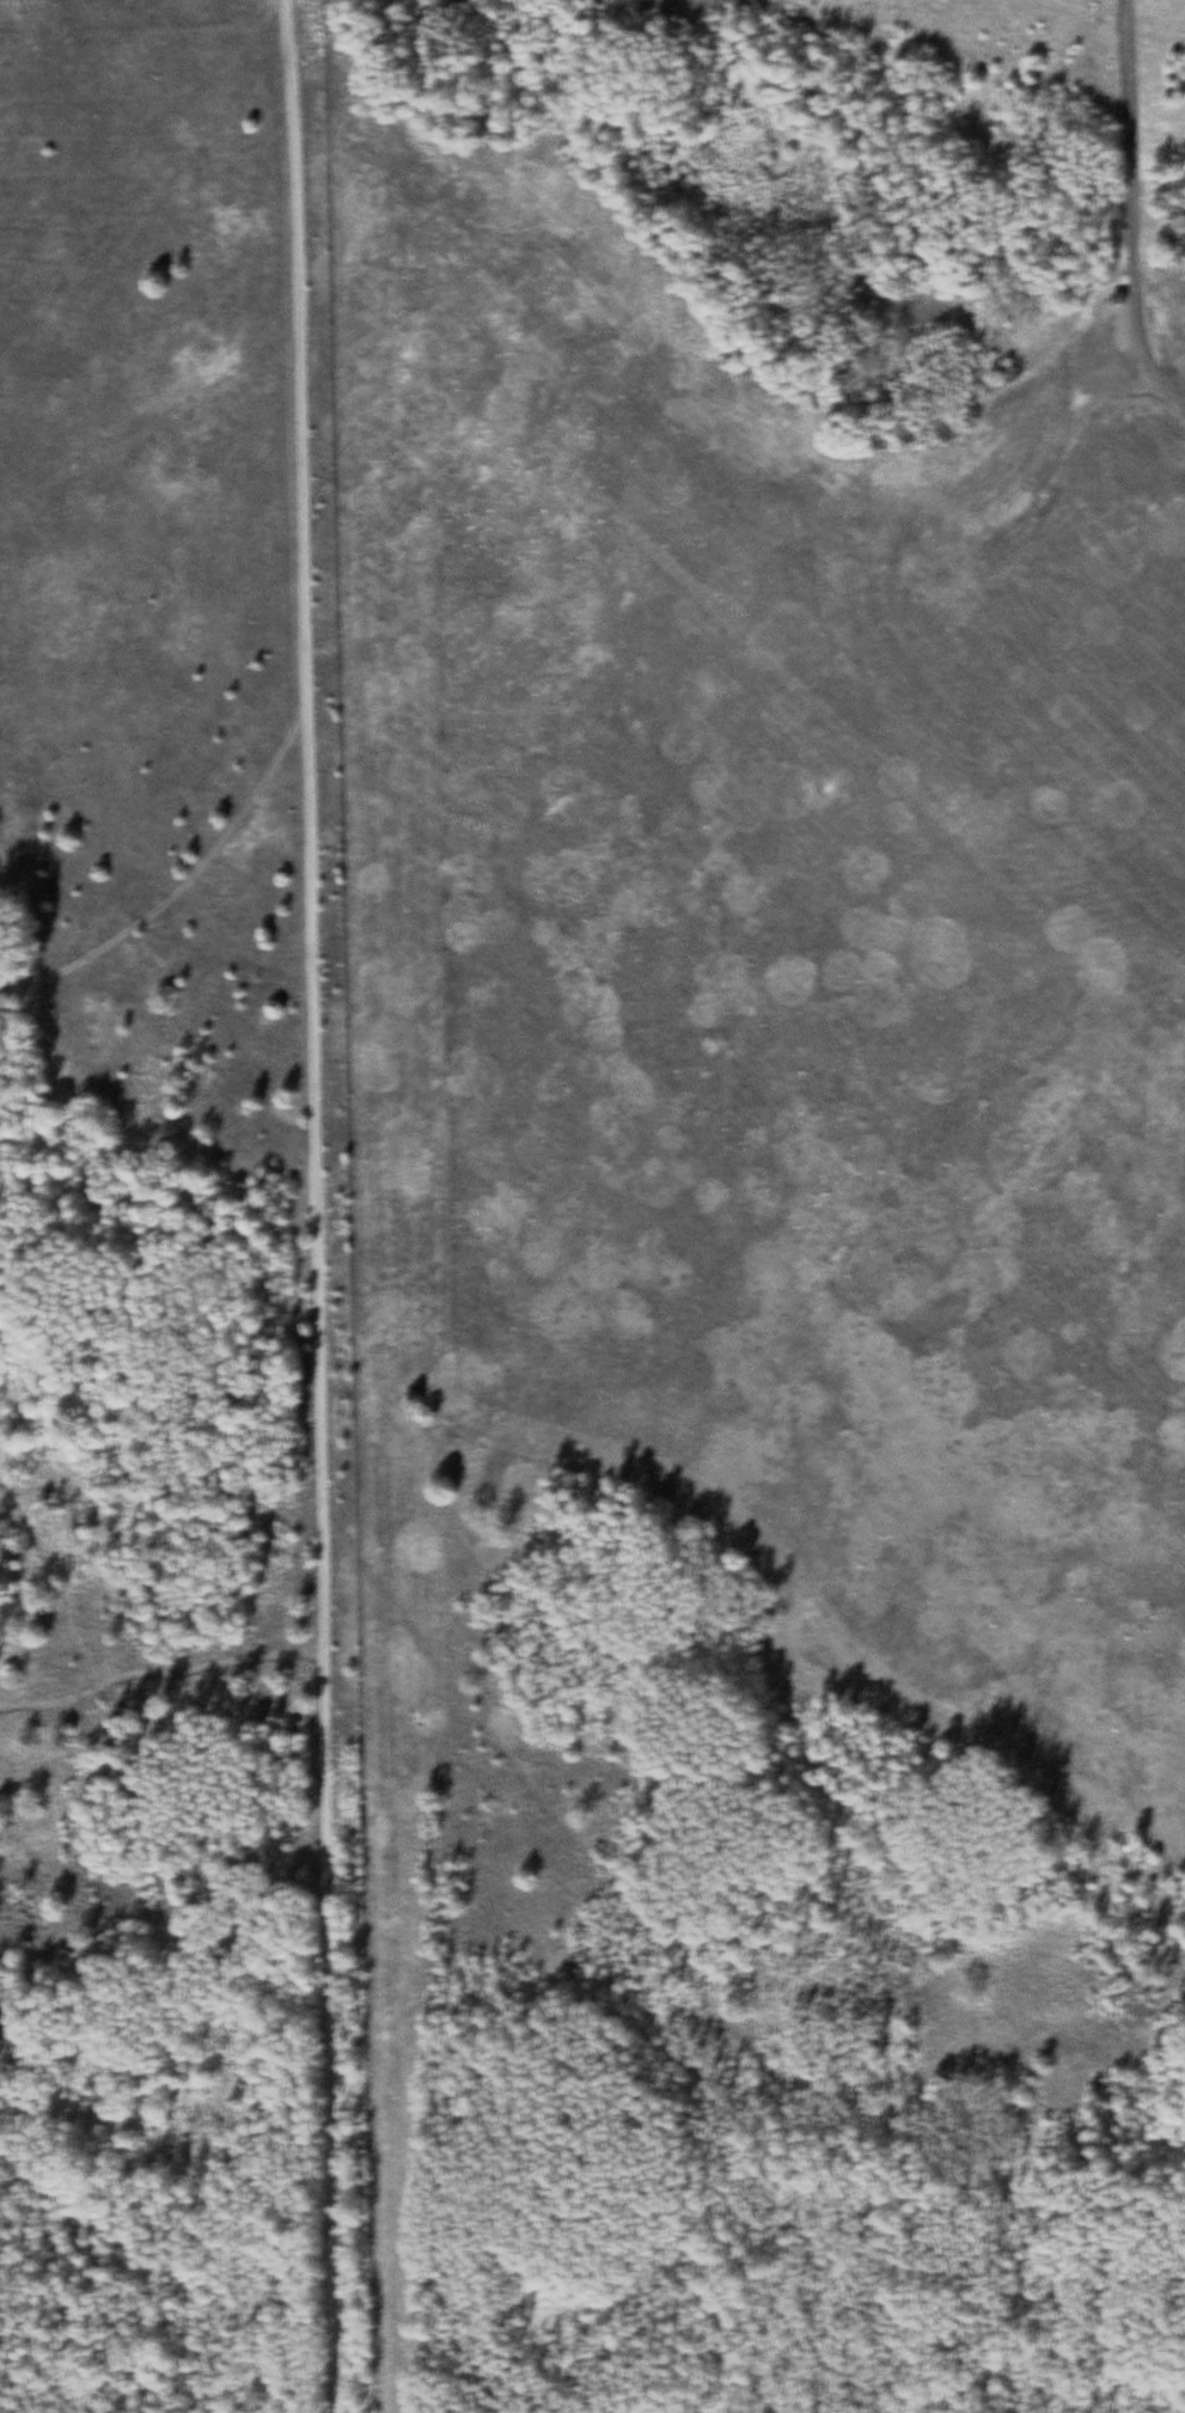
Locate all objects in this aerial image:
airport: (765, 1193)
road: (310, 1205)

